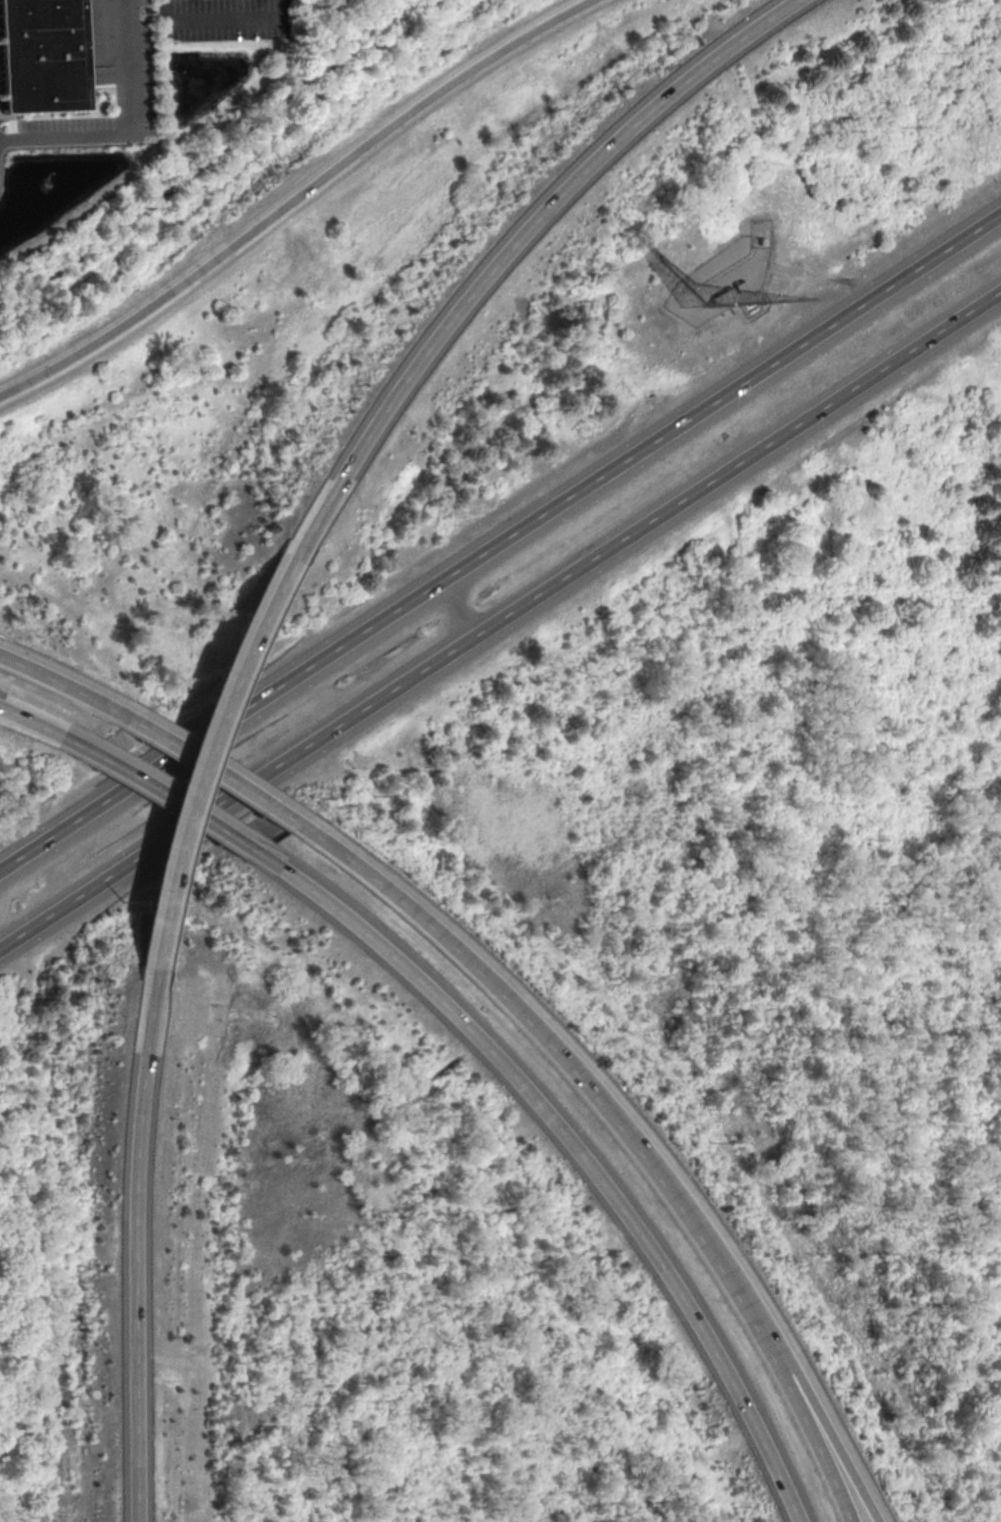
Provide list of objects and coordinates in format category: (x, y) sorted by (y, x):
road: (222, 20)
building: (40, 56)
road: (128, 128)
road: (292, 198)
road: (497, 245)
building: (738, 285)
building: (721, 295)
road: (500, 541)
road: (251, 615)
road: (501, 619)
road: (55, 683)
road: (41, 727)
road: (209, 765)
road: (186, 808)
road: (177, 819)
road: (563, 1068)
road: (581, 1166)
road: (125, 1244)
road: (806, 1438)
road: (816, 1439)

